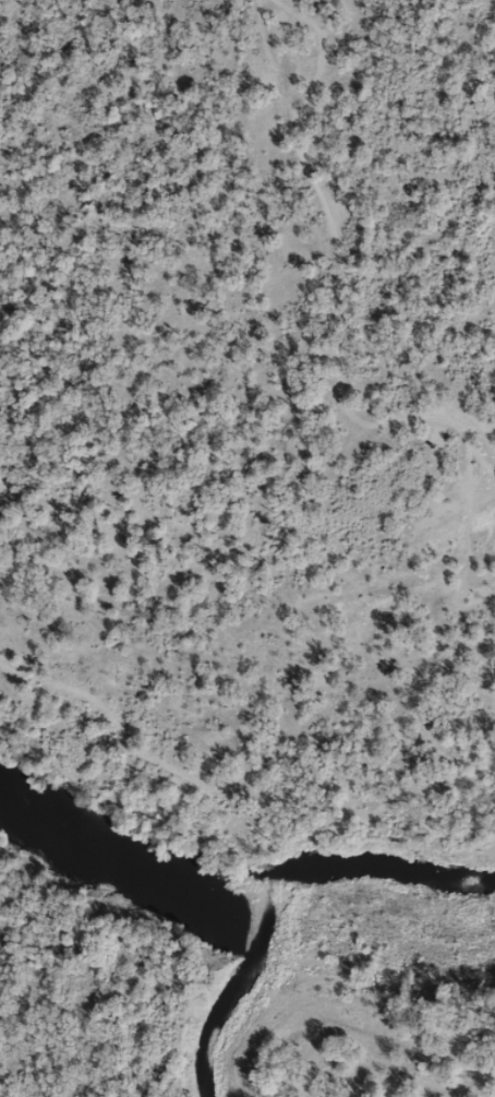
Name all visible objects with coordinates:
river: (236, 894)

